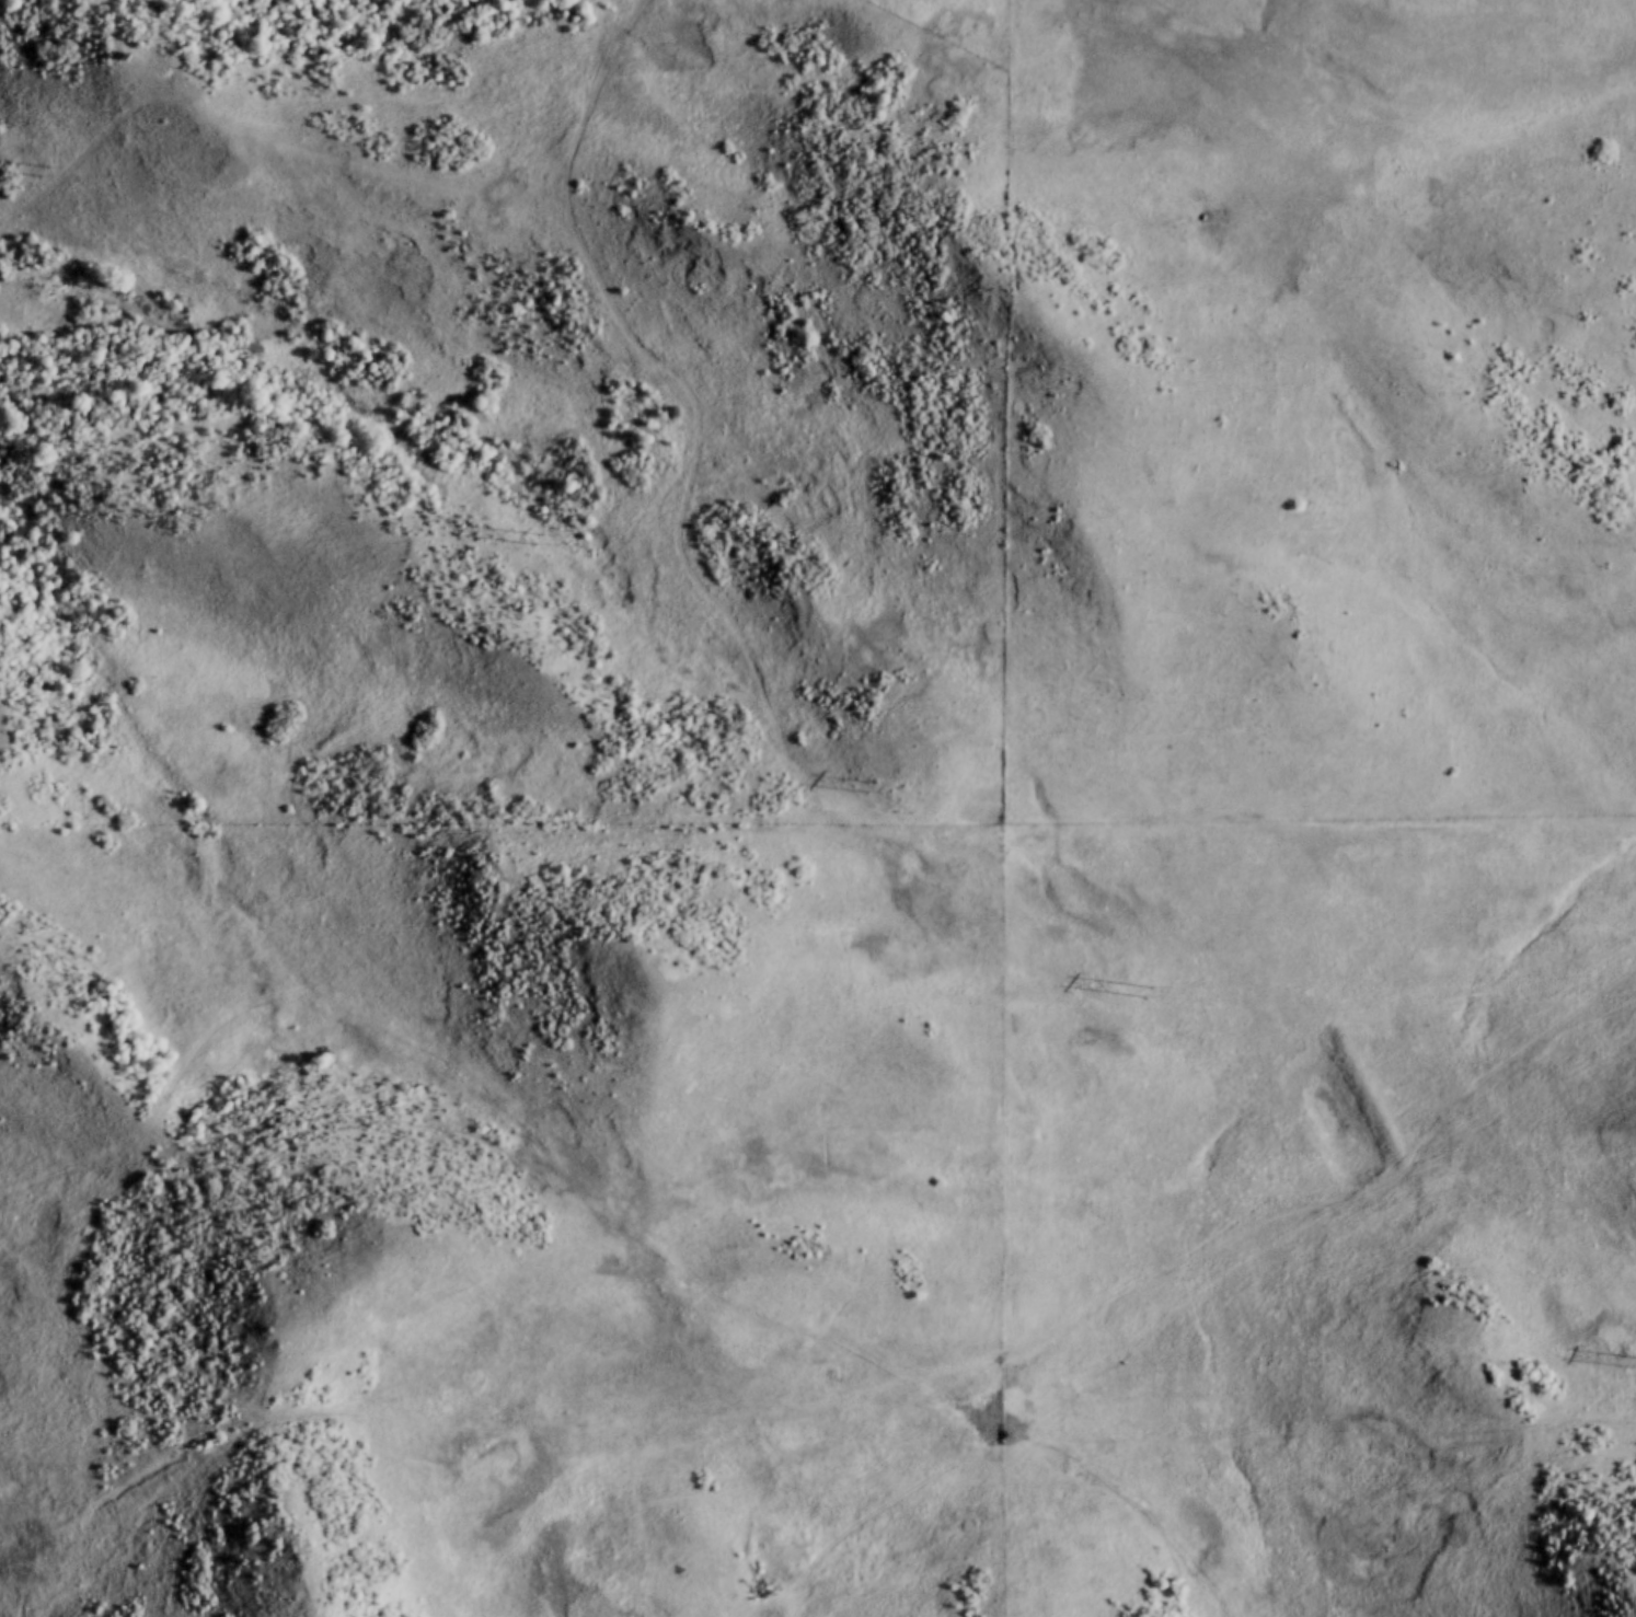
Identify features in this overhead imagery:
power tower: (49, 170)
power tower: (540, 535)
power tower: (875, 788)
power tower: (1149, 989)

